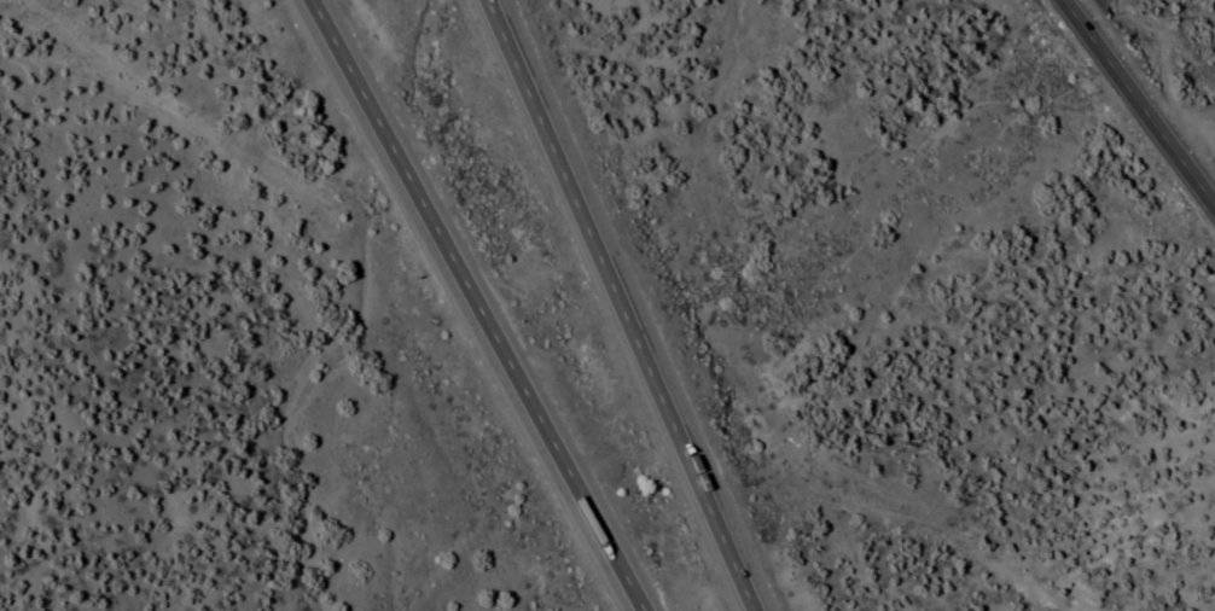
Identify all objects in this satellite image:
road: (1133, 107)
road: (176, 196)
road: (471, 304)
road: (620, 305)
road: (297, 418)
road: (906, 511)

